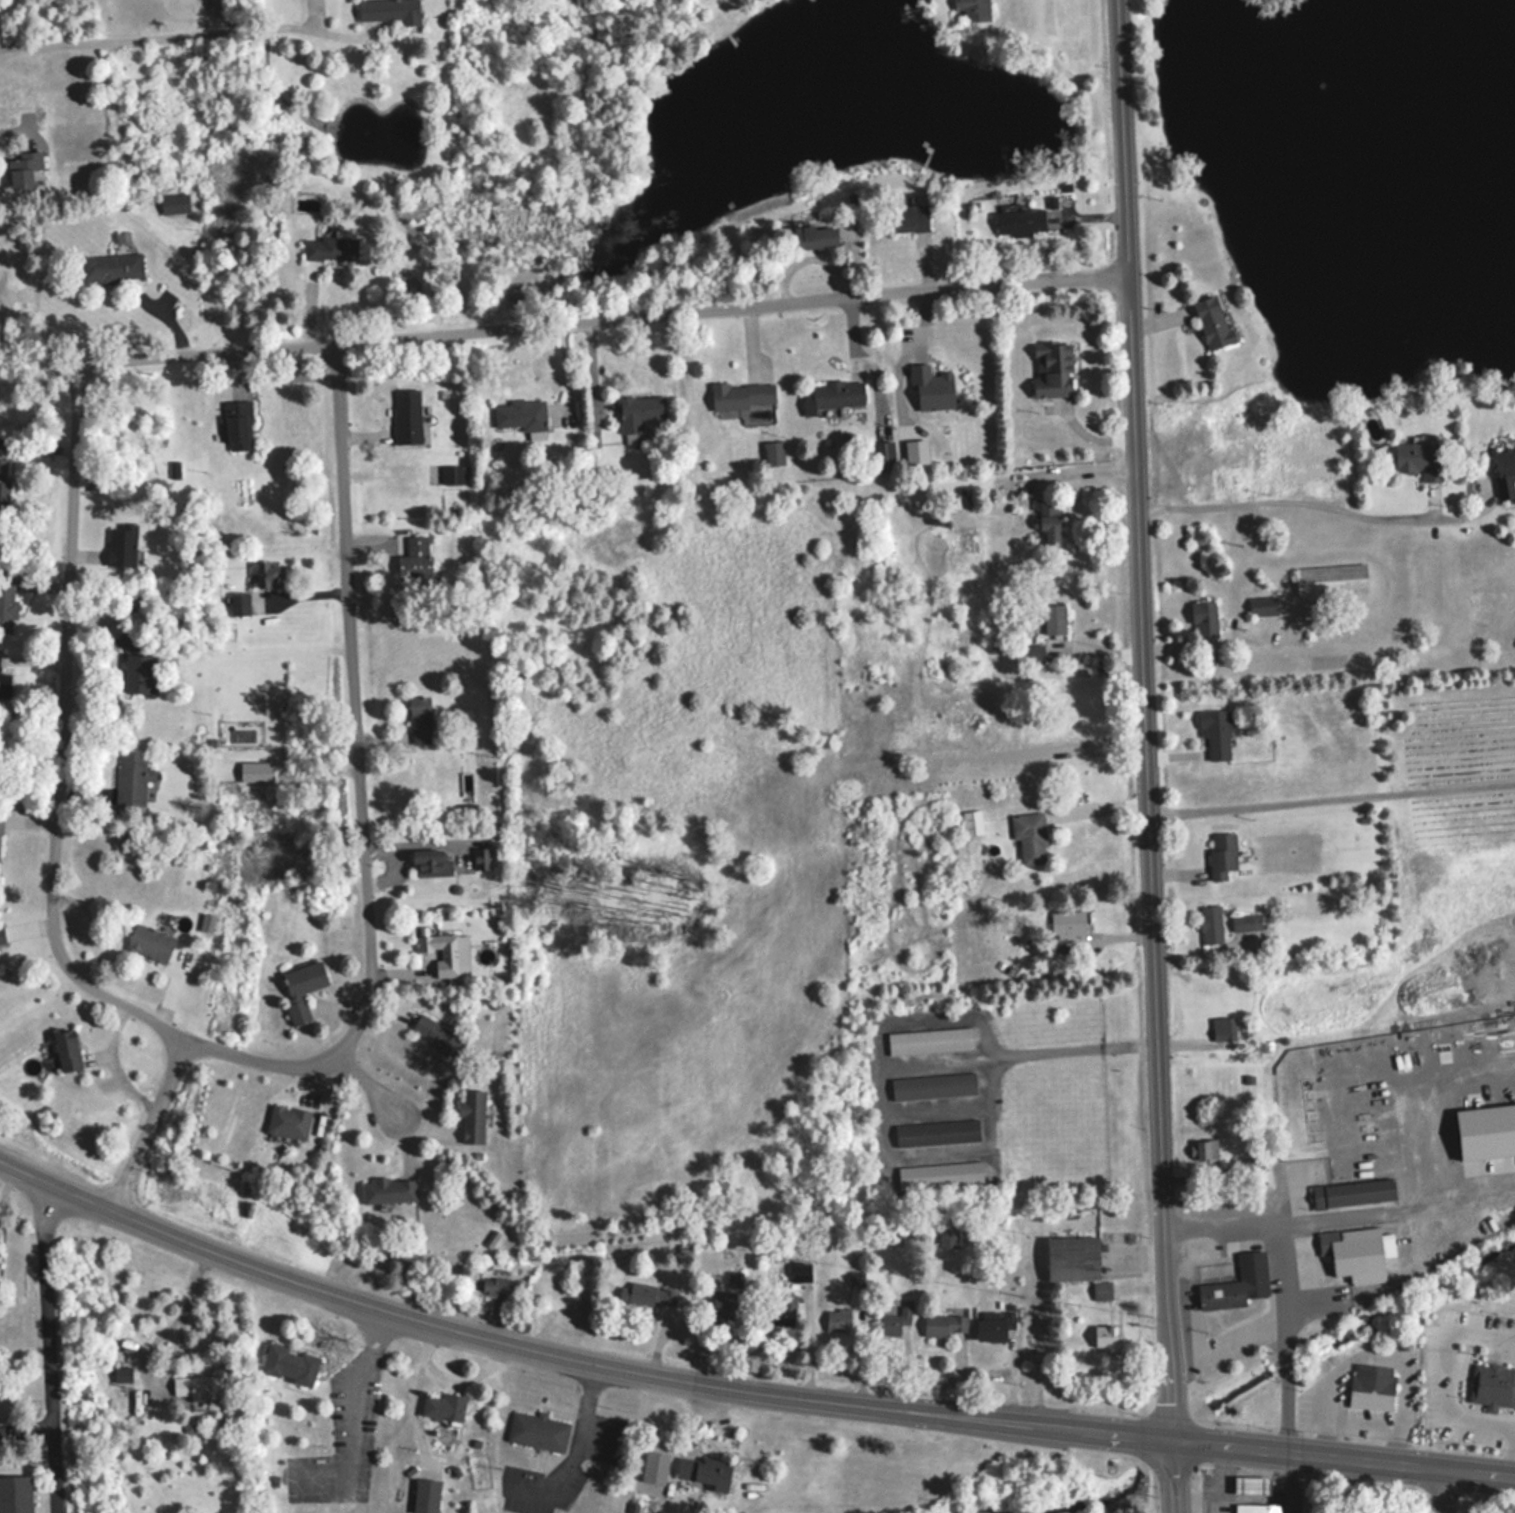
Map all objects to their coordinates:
building: (973, 9)
building: (389, 10)
road: (147, 36)
building: (24, 170)
building: (174, 203)
building: (909, 217)
building: (1032, 218)
building: (815, 236)
building: (329, 247)
building: (112, 267)
road: (565, 318)
building: (1212, 322)
building: (1052, 369)
building: (931, 388)
building: (837, 393)
building: (742, 395)
building: (638, 411)
building: (520, 414)
building: (406, 416)
building: (237, 423)
building: (774, 452)
building: (884, 455)
building: (1419, 459)
building: (1505, 472)
building: (453, 474)
building: (3, 484)
building: (1229, 484)
road: (1318, 503)
building: (1048, 521)
building: (961, 542)
building: (122, 546)
building: (413, 556)
building: (270, 574)
building: (1331, 579)
building: (7, 604)
building: (239, 604)
building: (1263, 605)
building: (1054, 619)
building: (1204, 619)
building: (1028, 655)
building: (135, 666)
building: (3, 678)
road: (1144, 703)
building: (420, 720)
road: (64, 731)
building: (1216, 733)
road: (363, 779)
building: (133, 780)
building: (464, 784)
road: (1331, 798)
building: (972, 823)
building: (1030, 838)
building: (1222, 856)
building: (482, 859)
building: (432, 867)
building: (1248, 922)
building: (1210, 925)
building: (1069, 926)
building: (2, 937)
building: (150, 943)
building: (446, 953)
building: (302, 988)
building: (1221, 1029)
building: (437, 1036)
building: (929, 1041)
building: (67, 1048)
building: (933, 1085)
road: (380, 1092)
road: (1416, 1093)
building: (472, 1115)
building: (288, 1120)
road: (151, 1121)
building: (936, 1132)
building: (1203, 1151)
building: (940, 1174)
building: (389, 1189)
building: (1353, 1193)
road: (1337, 1211)
road: (136, 1217)
building: (947, 1236)
building: (1352, 1254)
building: (1072, 1257)
building: (801, 1271)
building: (734, 1279)
building: (1237, 1283)
building: (497, 1285)
building: (1101, 1290)
building: (652, 1292)
building: (723, 1305)
building: (837, 1319)
building: (895, 1323)
building: (945, 1324)
building: (994, 1326)
road: (1276, 1332)
building: (1107, 1335)
road: (51, 1346)
road: (177, 1358)
building: (289, 1363)
building: (121, 1374)
road: (458, 1378)
road: (714, 1382)
building: (1493, 1384)
building: (196, 1386)
building: (1371, 1386)
road: (364, 1405)
building: (444, 1406)
road: (27, 1425)
building: (537, 1430)
road: (585, 1442)
road: (1340, 1453)
road: (1166, 1460)
building: (703, 1470)
building: (1251, 1483)
road: (1438, 1488)
building: (15, 1494)
building: (426, 1495)
building: (1256, 1507)

